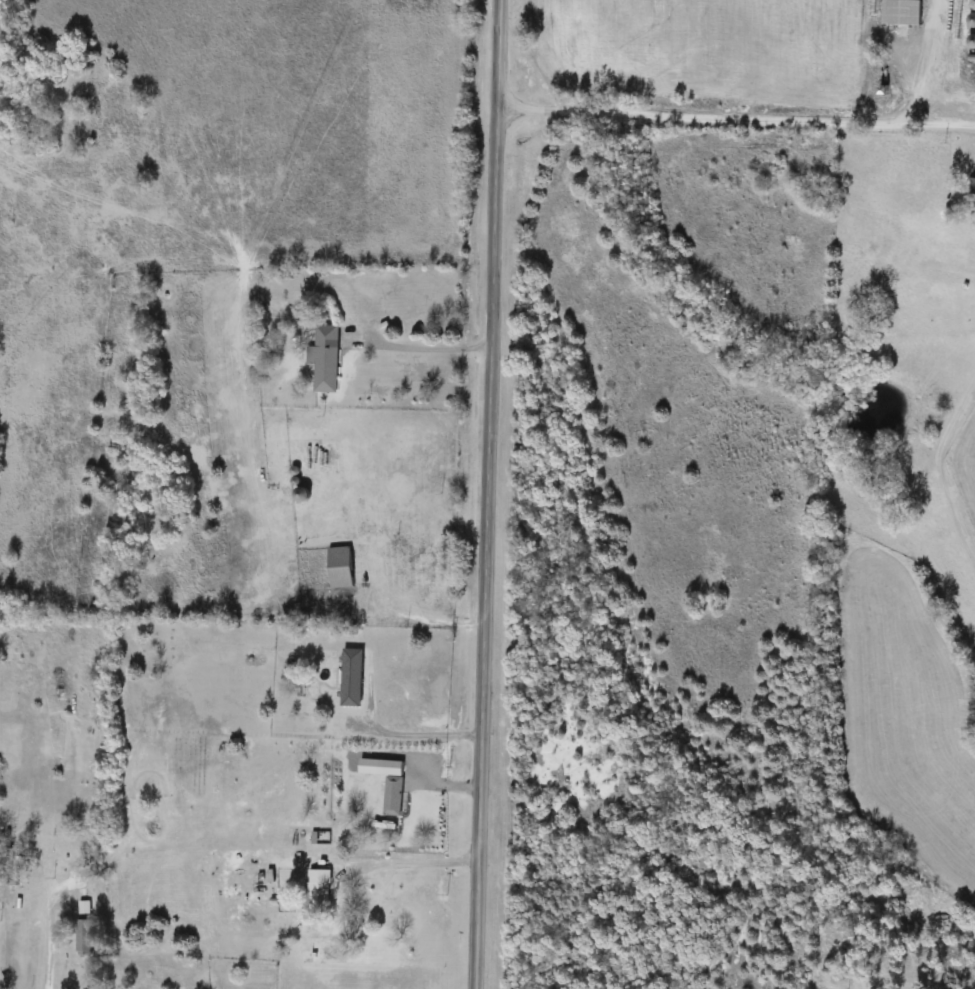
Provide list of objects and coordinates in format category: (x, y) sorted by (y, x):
building: (903, 13)
road: (735, 121)
building: (974, 188)
road: (430, 348)
building: (327, 360)
road: (490, 494)
building: (303, 496)
building: (342, 568)
road: (407, 605)
building: (353, 679)
road: (417, 732)
building: (394, 797)
building: (241, 803)
road: (408, 861)
building: (12, 868)
building: (320, 892)
building: (84, 908)
road: (51, 927)
building: (85, 938)

